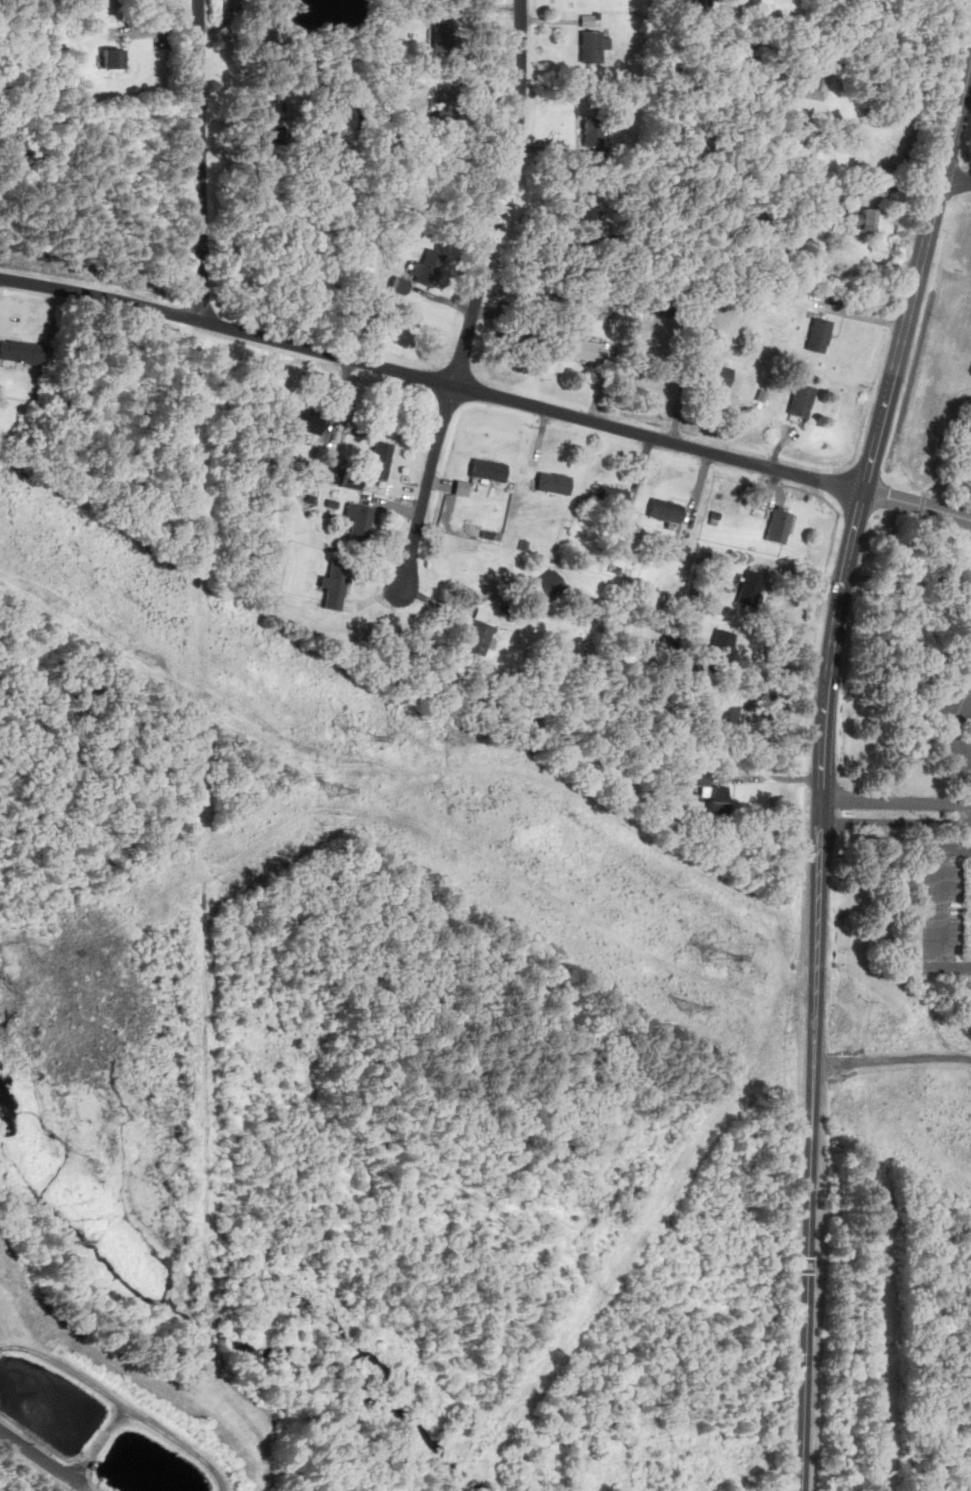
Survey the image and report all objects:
building: (586, 22)
building: (439, 36)
building: (591, 48)
building: (113, 59)
building: (804, 102)
building: (272, 124)
building: (592, 132)
road: (200, 160)
road: (956, 178)
building: (860, 220)
building: (776, 245)
building: (427, 270)
road: (477, 294)
building: (668, 303)
building: (819, 335)
building: (517, 343)
building: (583, 350)
building: (21, 351)
building: (717, 375)
road: (432, 377)
road: (684, 388)
building: (802, 400)
building: (306, 422)
building: (380, 459)
building: (488, 470)
road: (945, 482)
building: (554, 483)
building: (611, 495)
road: (917, 503)
road: (923, 505)
building: (666, 511)
building: (361, 524)
building: (779, 526)
road: (909, 559)
building: (336, 585)
building: (548, 585)
building: (750, 588)
building: (479, 634)
building: (721, 646)
building: (727, 714)
road: (949, 727)
power tower: (360, 743)
road: (822, 764)
road: (771, 778)
power tower: (332, 794)
building: (713, 794)
road: (896, 801)
road: (896, 821)
road: (939, 910)
power tower: (719, 958)
power tower: (684, 1006)
road: (892, 1059)
road: (43, 1457)

